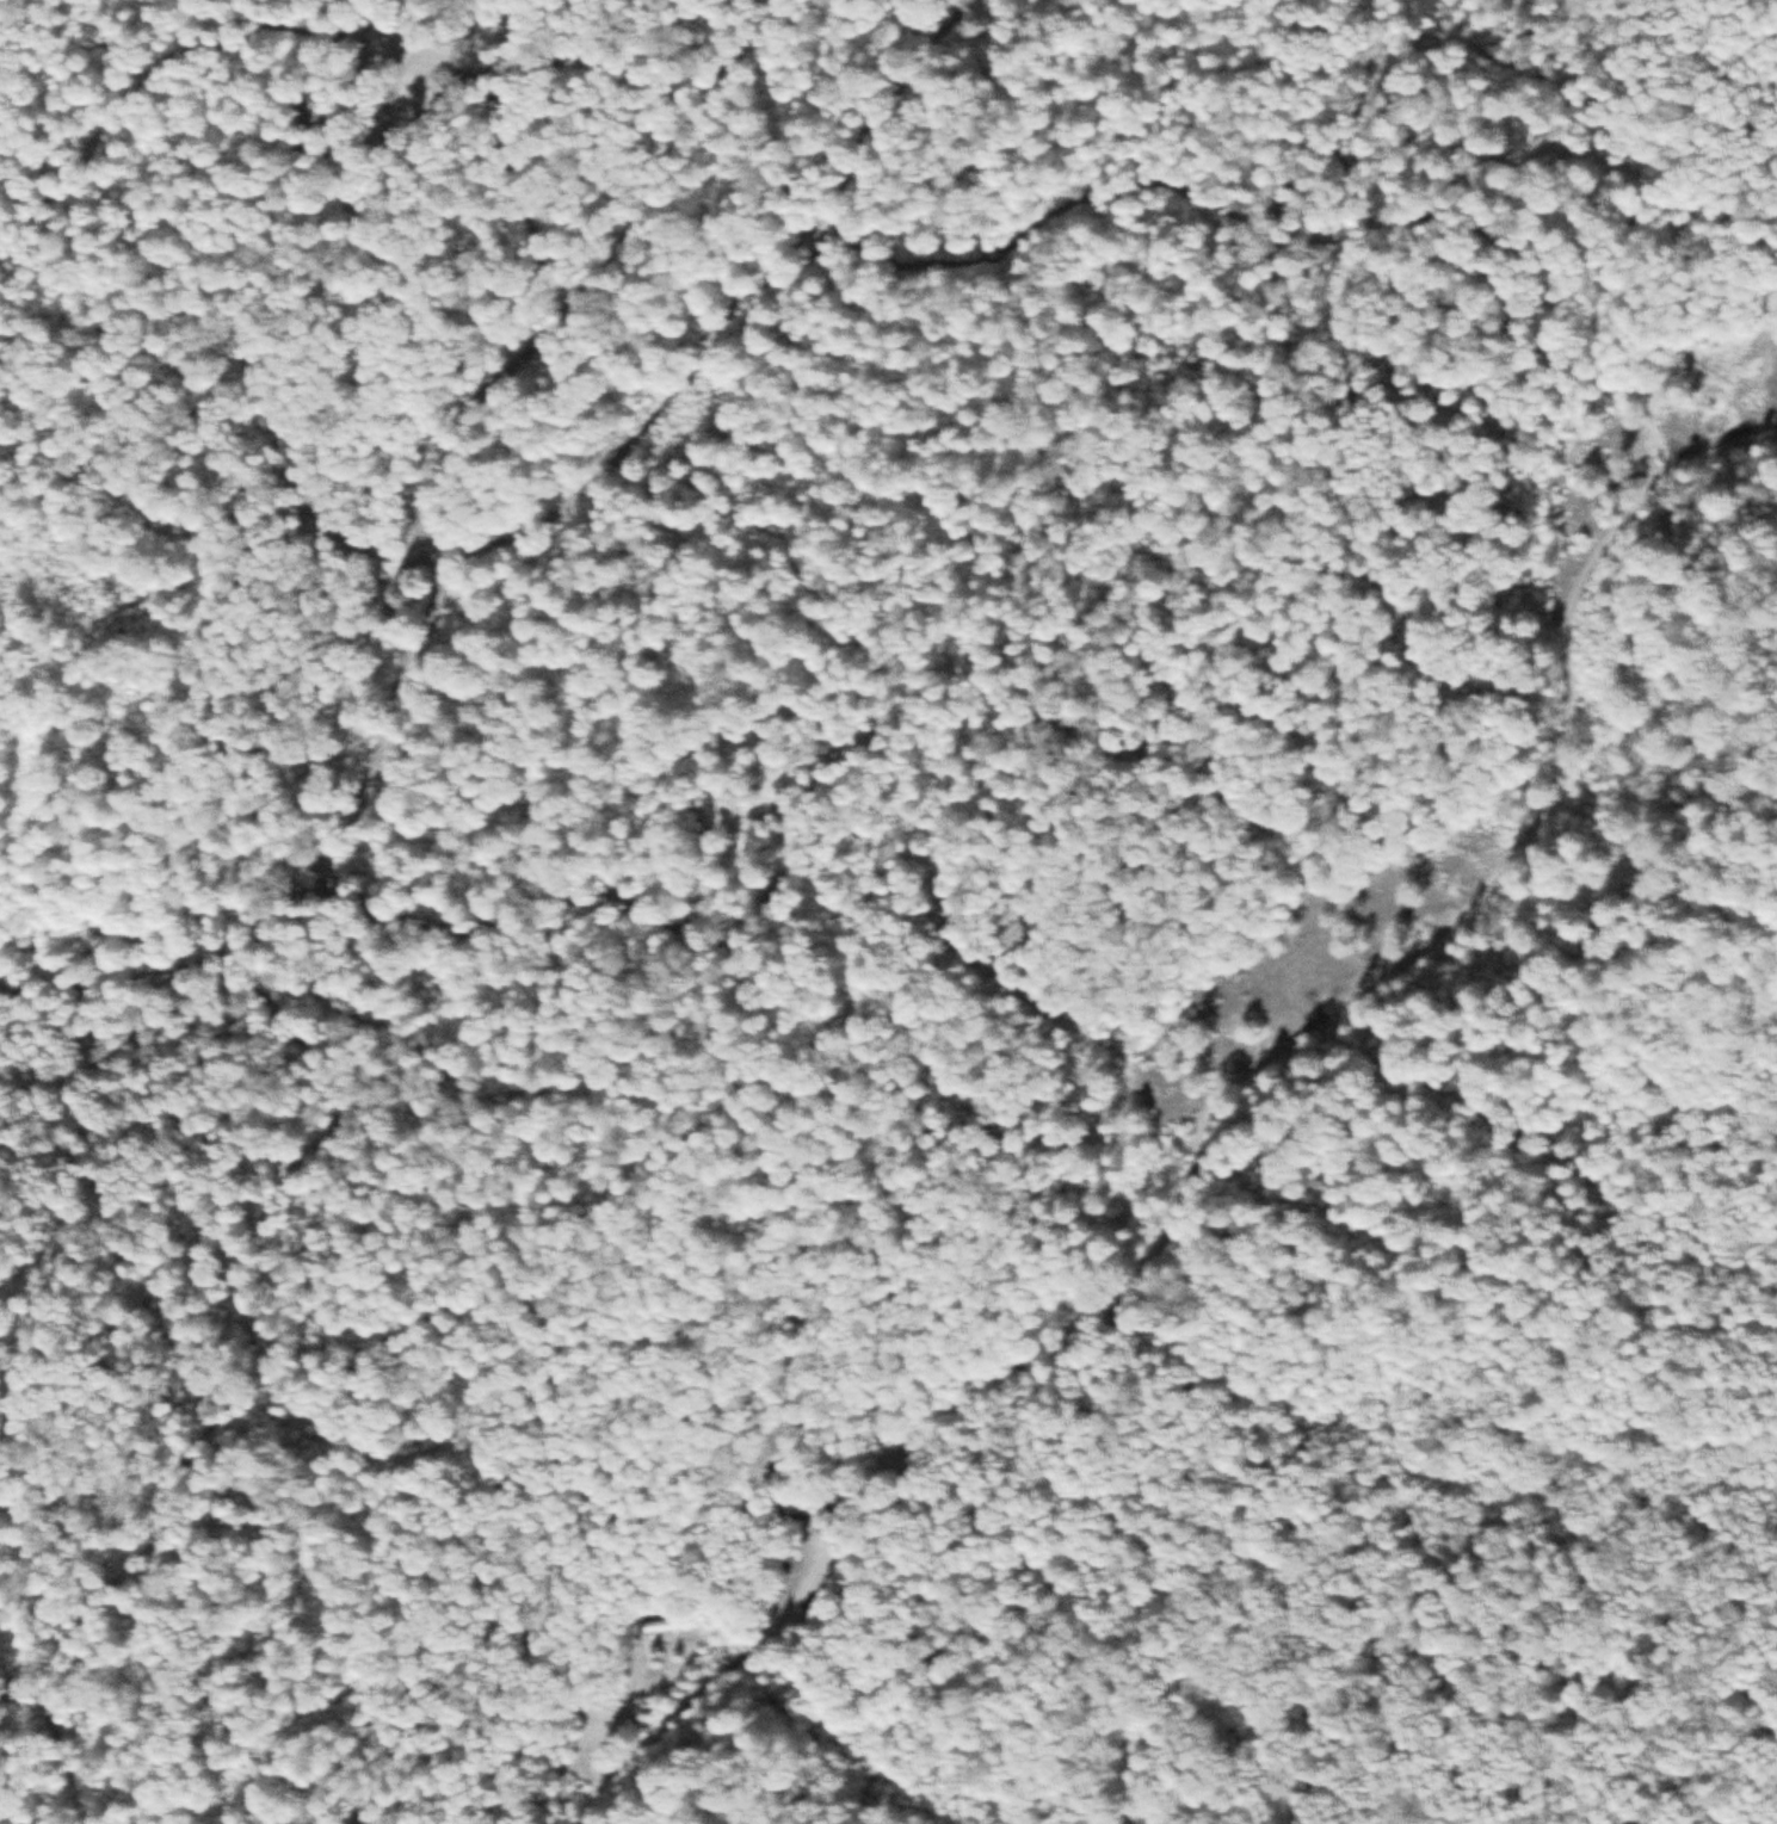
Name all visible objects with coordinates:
road: (1125, 1352)
building: (794, 1508)
building: (777, 1588)
building: (655, 1626)

